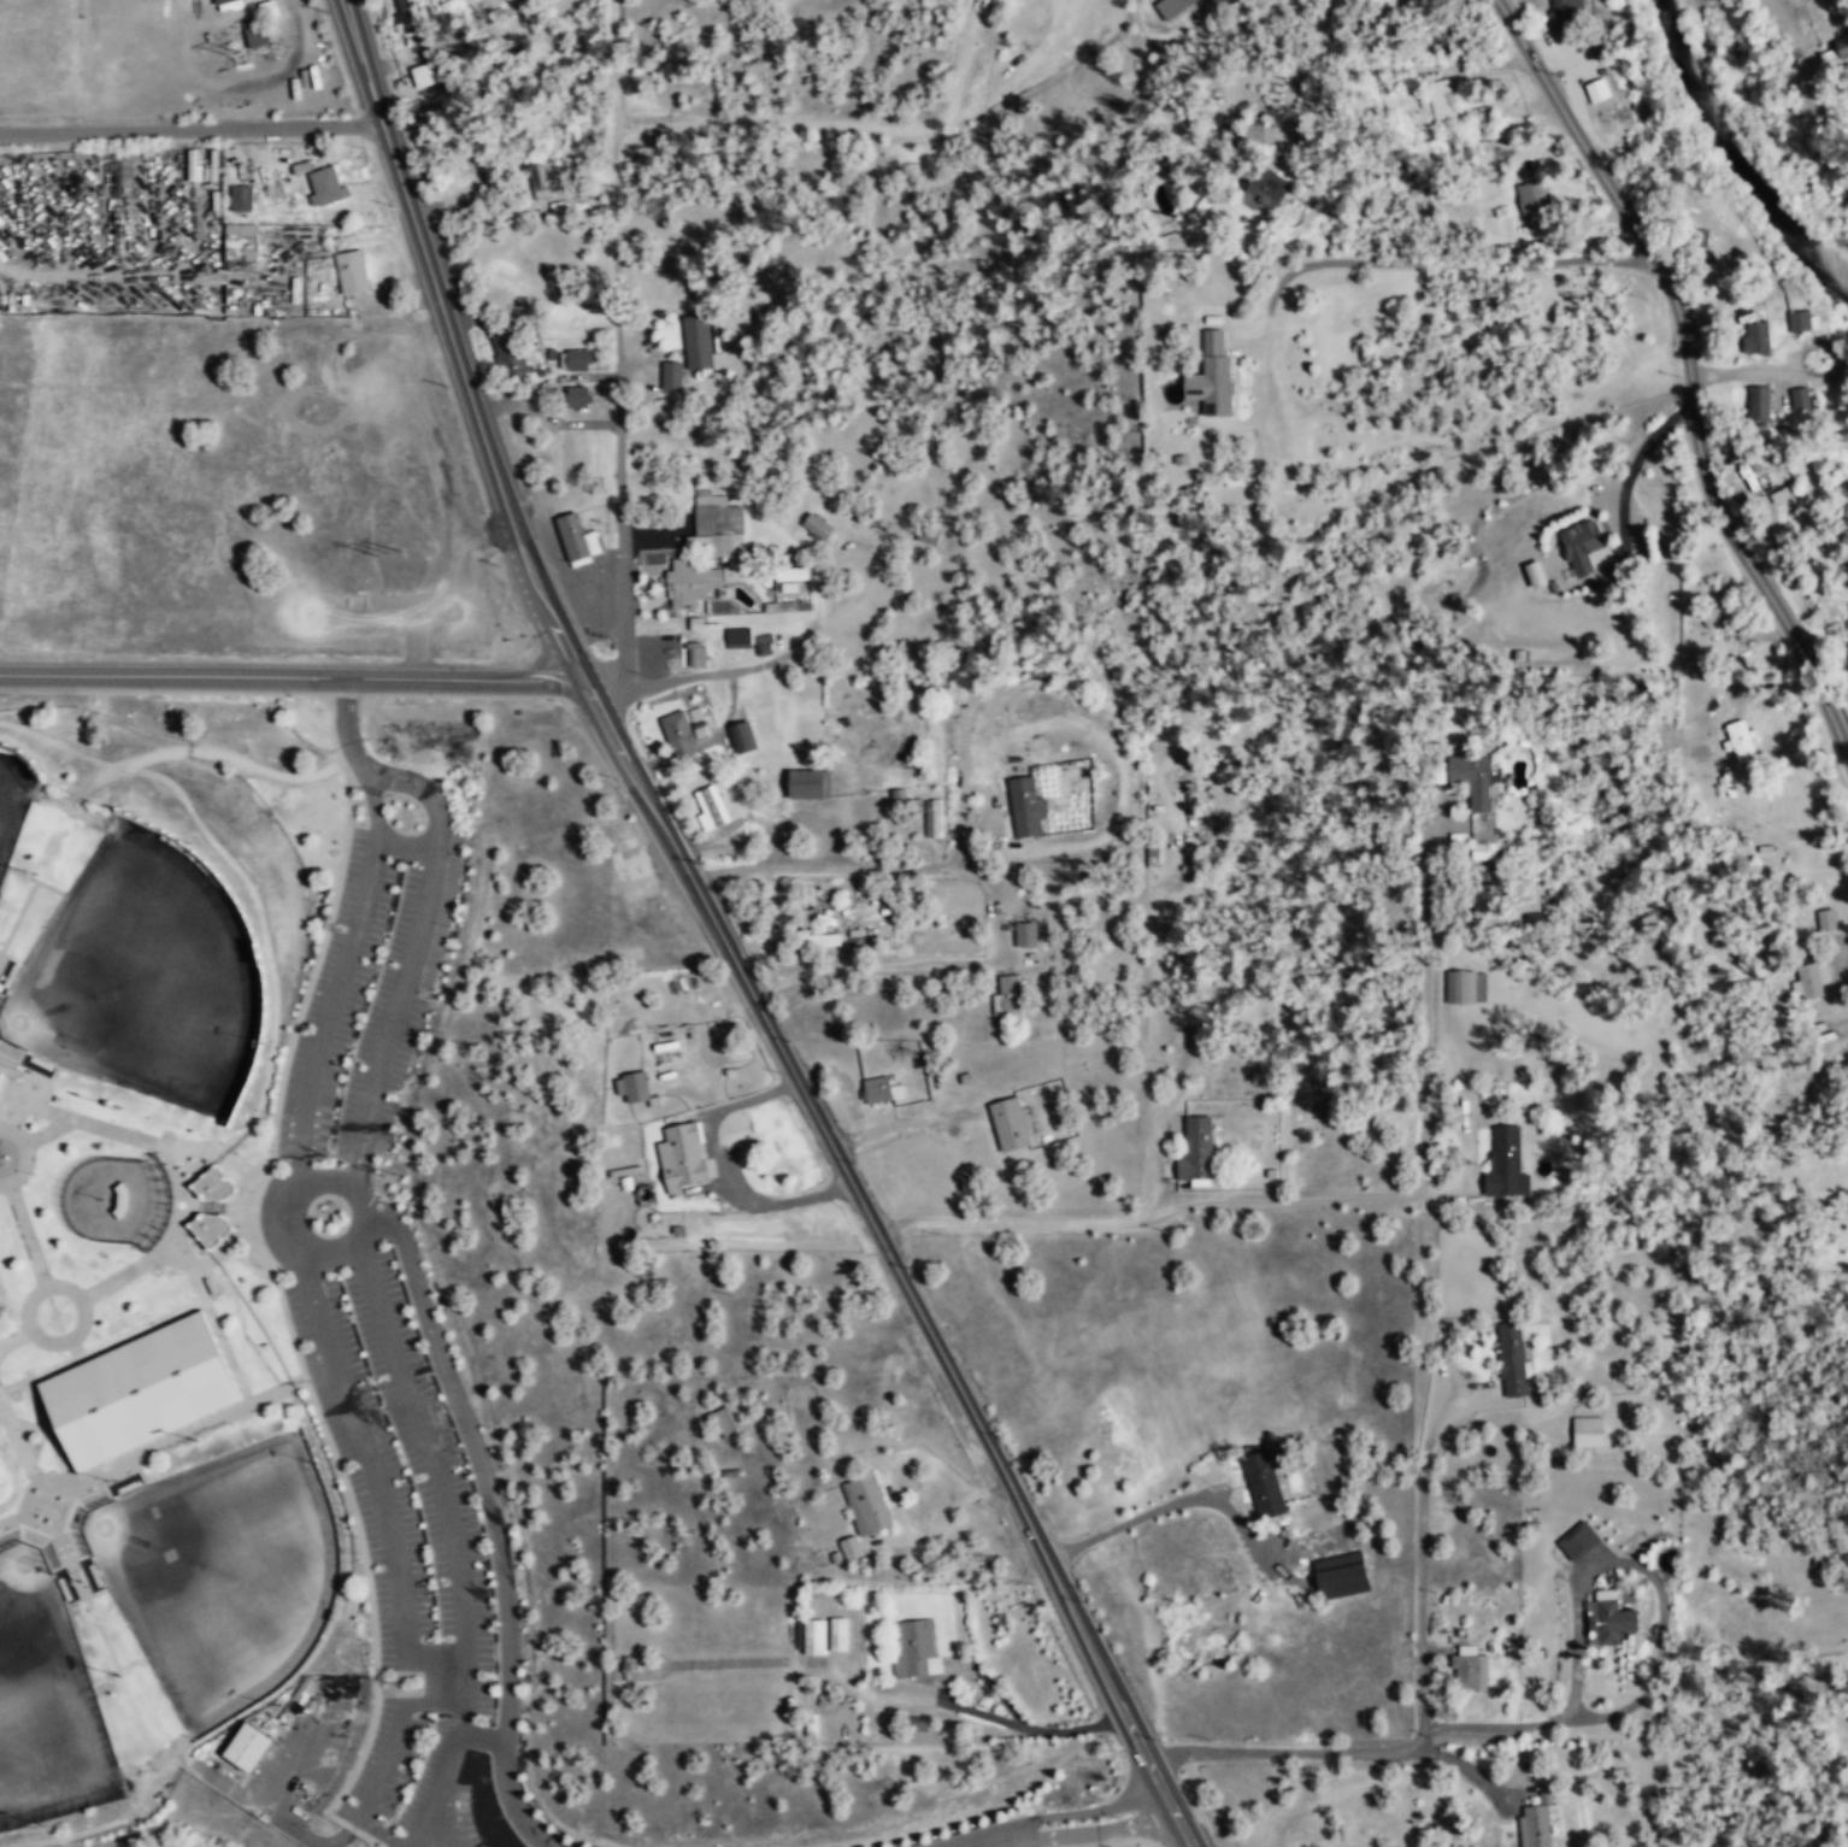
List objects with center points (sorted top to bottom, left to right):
building: (226, 4)
building: (266, 7)
building: (1566, 13)
building: (405, 16)
building: (254, 31)
building: (1842, 46)
power tower: (234, 51)
building: (426, 73)
building: (1596, 90)
building: (1440, 100)
road: (836, 124)
road: (189, 127)
building: (1254, 133)
river: (1737, 153)
building: (325, 184)
building: (1264, 189)
building: (240, 198)
building: (1532, 198)
building: (240, 241)
building: (351, 271)
building: (1802, 322)
building: (1755, 337)
building: (696, 342)
road: (452, 343)
building: (511, 355)
building: (573, 360)
road: (618, 360)
road: (1689, 370)
building: (671, 375)
building: (1214, 376)
building: (577, 396)
building: (1799, 398)
building: (1758, 404)
building: (1779, 494)
building: (717, 524)
building: (817, 525)
building: (928, 536)
building: (577, 540)
building: (1581, 545)
power tower: (388, 552)
building: (1535, 573)
building: (790, 575)
building: (698, 581)
building: (788, 587)
building: (779, 607)
building: (1717, 616)
building: (1847, 622)
building: (701, 624)
road: (813, 634)
building: (764, 645)
building: (695, 654)
road: (289, 677)
road: (346, 727)
building: (683, 730)
building: (741, 735)
building: (1741, 740)
building: (1155, 746)
building: (1476, 777)
building: (805, 783)
road: (348, 787)
power tower: (387, 795)
park: (13, 798)
building: (710, 806)
building: (1025, 806)
building: (934, 819)
road: (405, 842)
road: (10, 869)
building: (1485, 899)
road: (18, 917)
building: (1825, 919)
road: (42, 925)
building: (1025, 934)
building: (817, 939)
road: (410, 958)
park: (140, 976)
road: (340, 976)
building: (1808, 980)
building: (1465, 986)
building: (1008, 994)
building: (10, 1066)
building: (631, 1086)
building: (881, 1089)
road: (33, 1105)
building: (1008, 1123)
road: (146, 1140)
building: (1195, 1151)
road: (25, 1155)
building: (679, 1155)
building: (1505, 1161)
power tower: (390, 1172)
building: (212, 1184)
road: (240, 1193)
building: (120, 1199)
road: (281, 1201)
road: (1295, 1202)
building: (208, 1228)
road: (27, 1234)
road: (891, 1260)
road: (281, 1299)
road: (207, 1306)
road: (13, 1336)
road: (64, 1340)
road: (101, 1346)
building: (222, 1347)
road: (73, 1351)
building: (1513, 1358)
parking lot: (398, 1371)
building: (137, 1390)
building: (725, 1422)
building: (1587, 1431)
road: (49, 1433)
road: (33, 1435)
road: (202, 1443)
road: (428, 1446)
road: (98, 1474)
road: (377, 1480)
building: (1263, 1480)
building: (866, 1504)
road: (492, 1511)
road: (22, 1513)
building: (1578, 1540)
building: (851, 1547)
park: (223, 1572)
building: (1341, 1575)
building: (1611, 1618)
road: (372, 1624)
building: (837, 1634)
building: (813, 1636)
building: (914, 1648)
road: (141, 1651)
building: (1469, 1667)
power tower: (393, 1683)
park: (45, 1700)
road: (482, 1735)
building: (247, 1746)
road: (453, 1748)
road: (388, 1760)
road: (1093, 1808)
building: (1535, 1823)
road: (1100, 1831)
parking lot: (991, 1835)
road: (426, 1836)
road: (987, 1837)
road: (1024, 1837)
road: (1126, 1839)
road: (1070, 1846)

